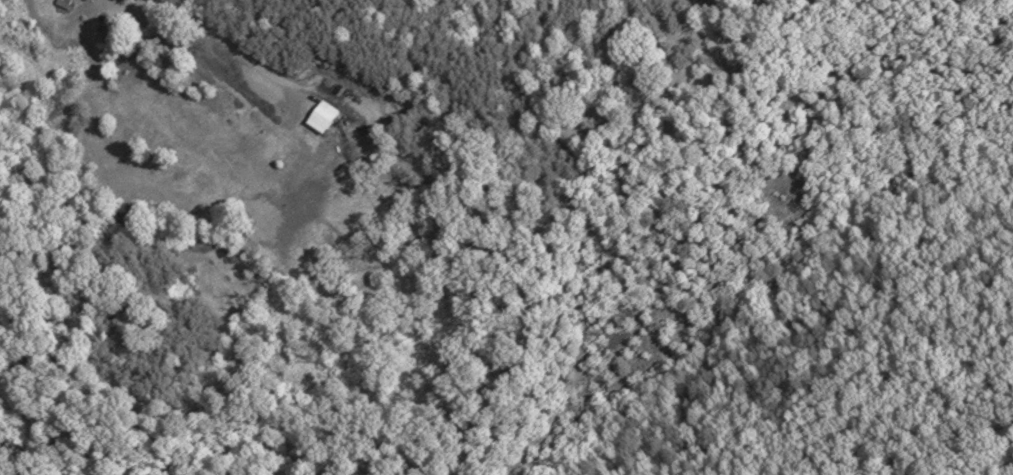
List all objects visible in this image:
road: (218, 38)
building: (322, 118)

